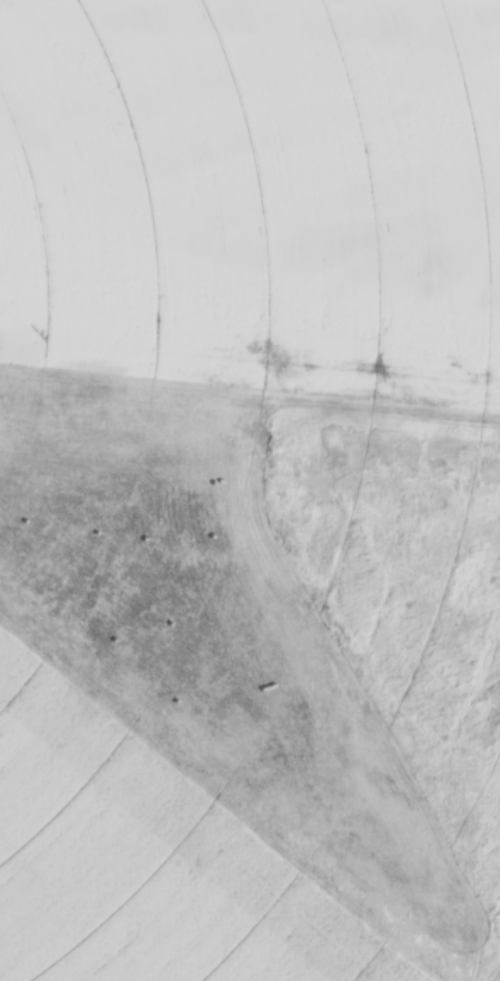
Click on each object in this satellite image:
building: (83, 9)
building: (4, 35)

